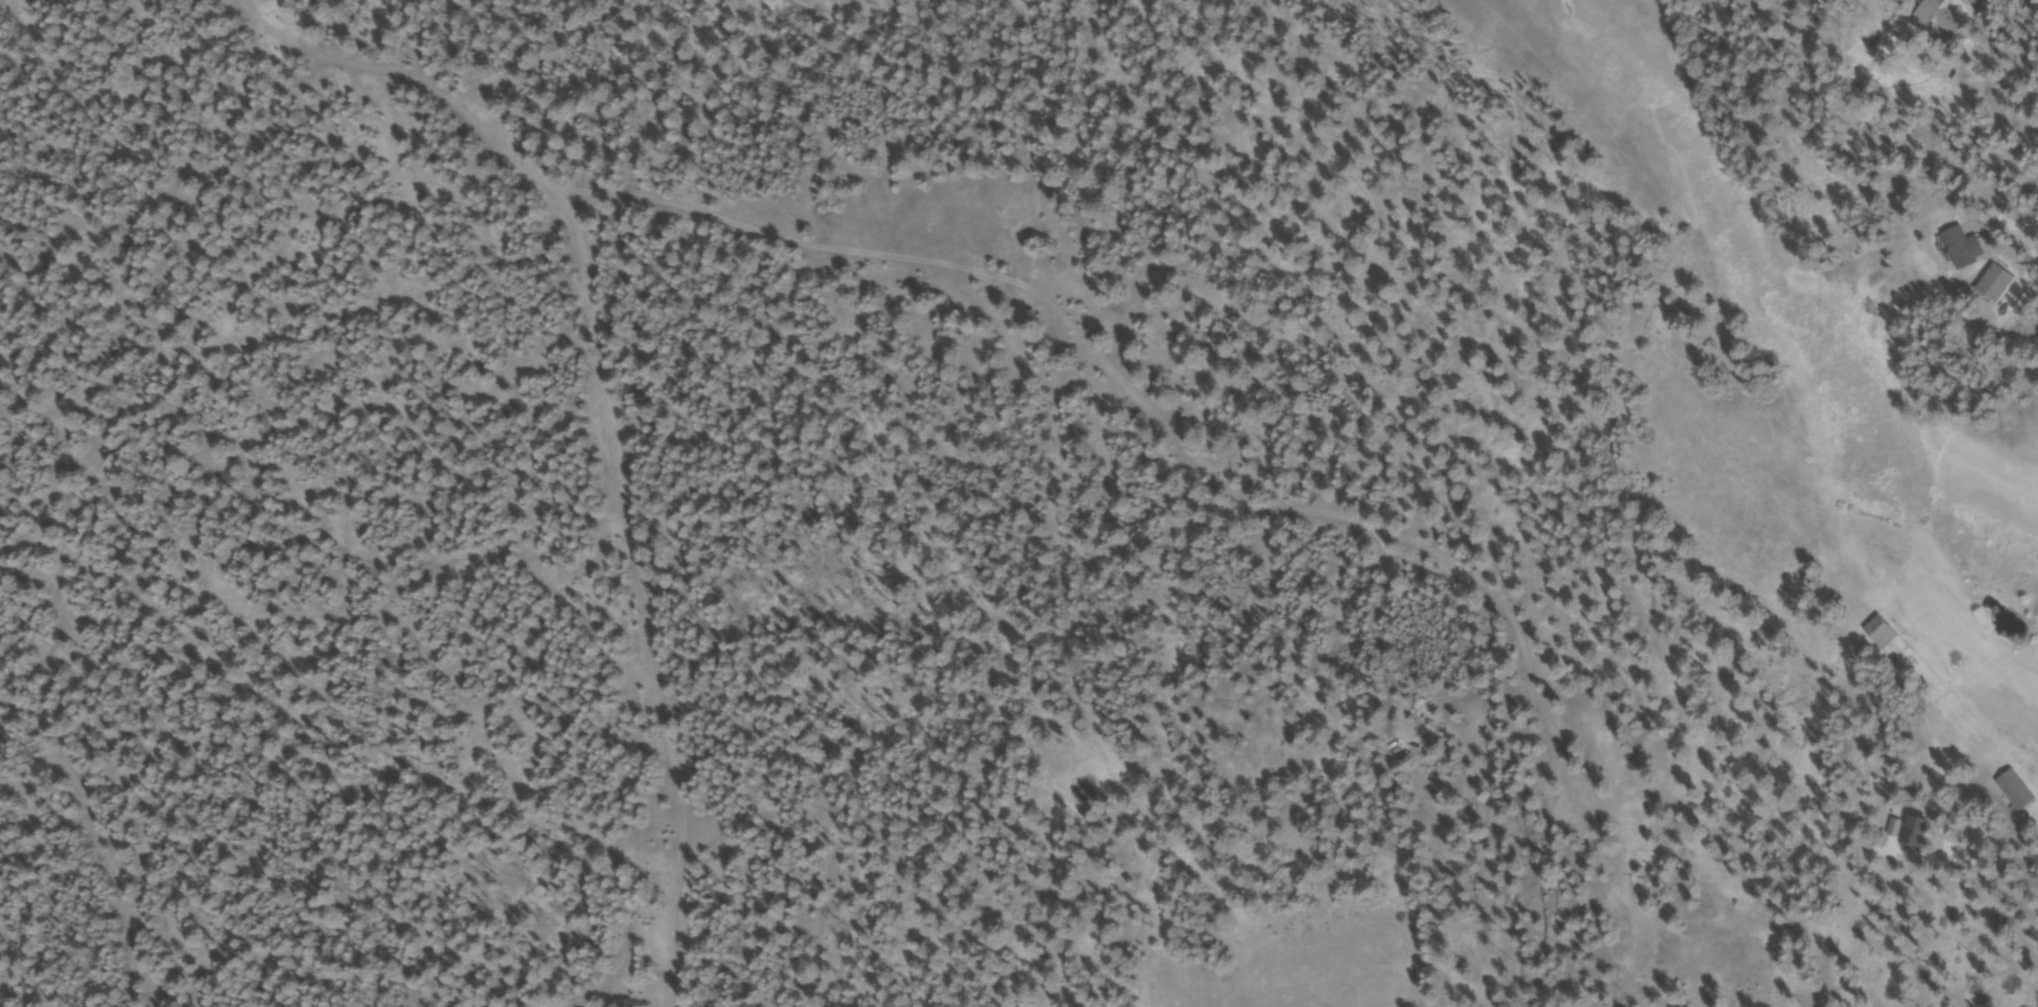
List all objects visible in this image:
building: (1943, 15)
building: (1965, 249)
building: (1998, 286)
road: (603, 410)
building: (1883, 634)
building: (2018, 793)
building: (1919, 837)

